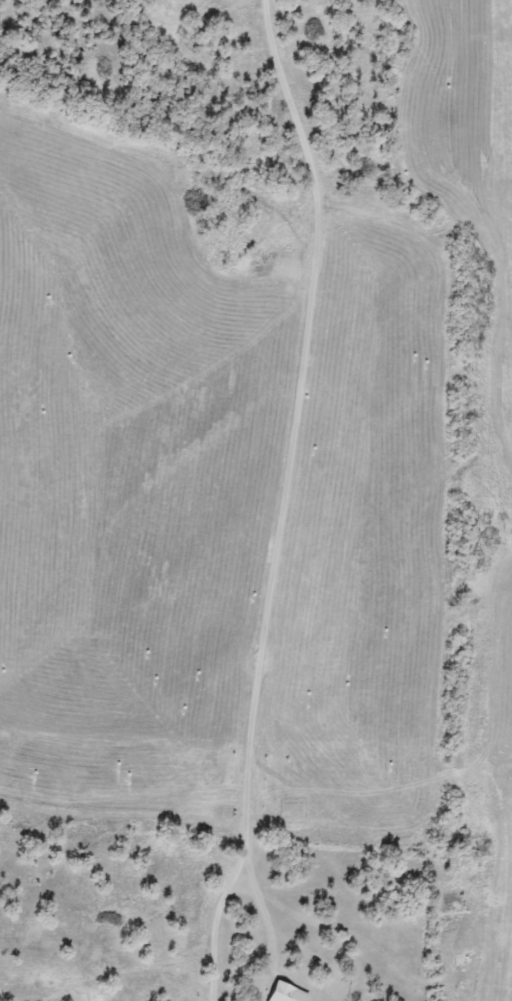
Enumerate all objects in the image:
building: (160, 11)
road: (287, 500)
building: (275, 991)

